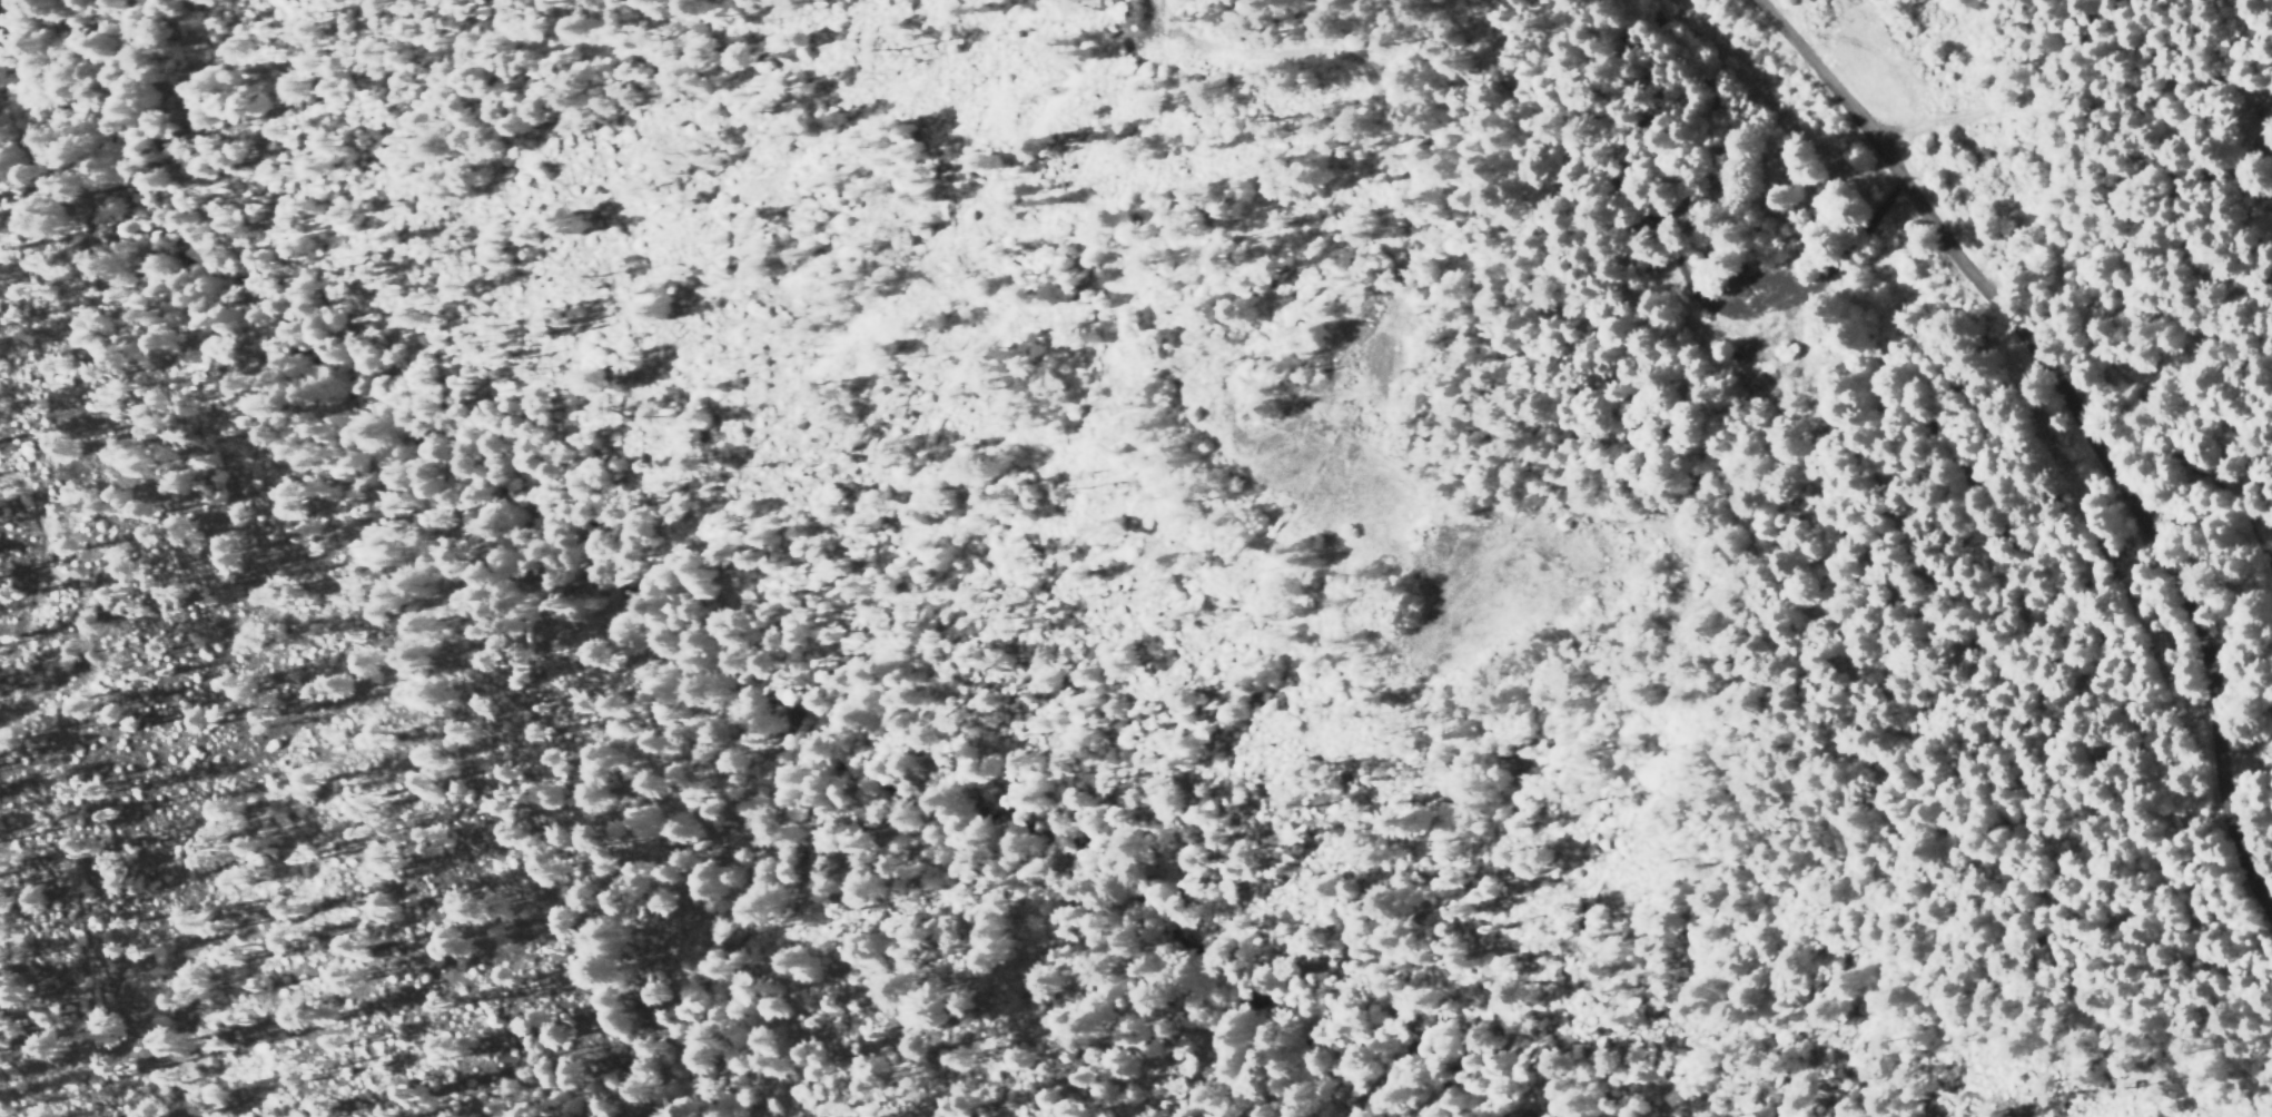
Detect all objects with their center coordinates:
road: (2078, 416)

